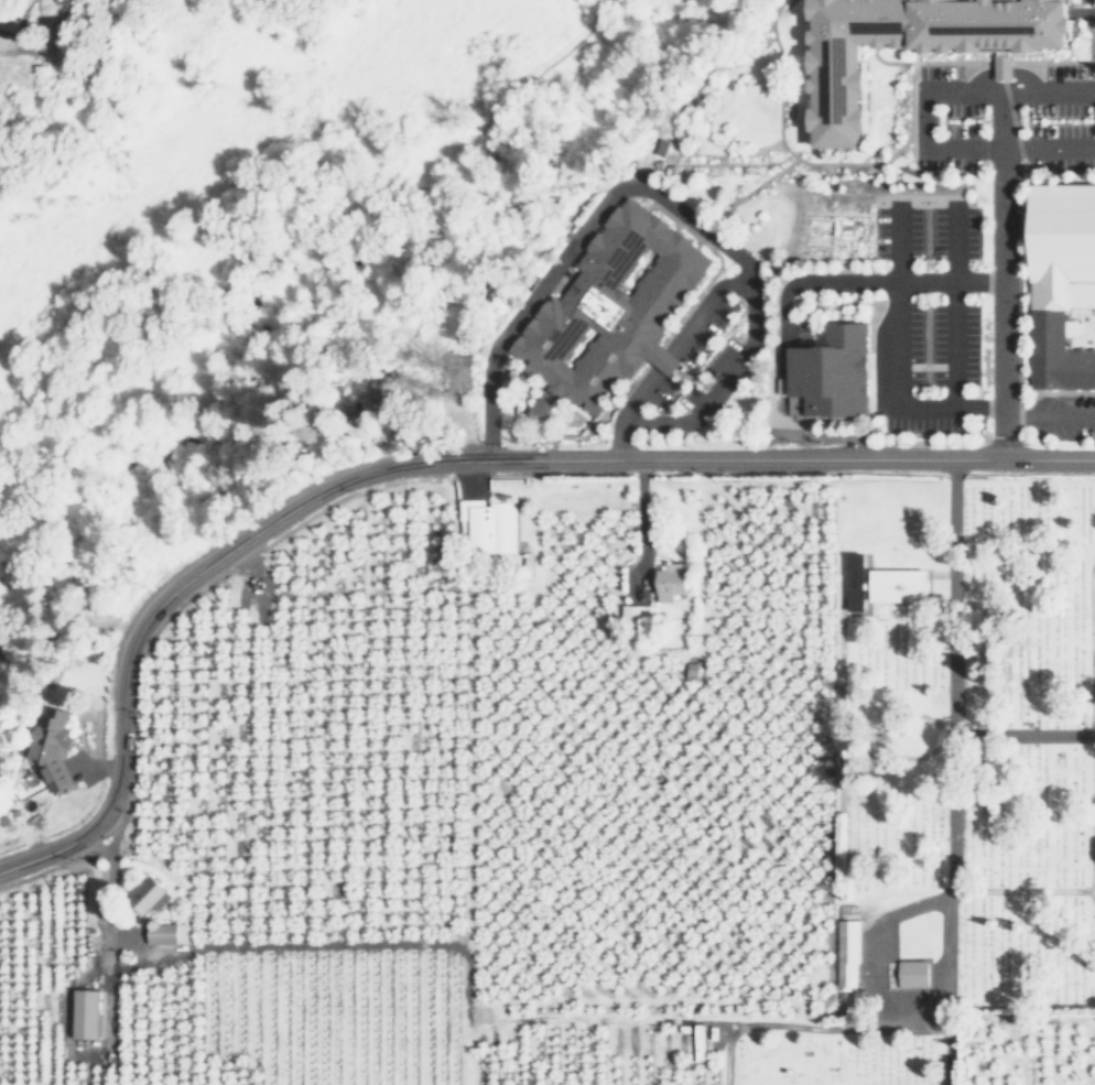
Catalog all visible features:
building: (11, 13)
road: (547, 58)
road: (1006, 62)
building: (1004, 66)
building: (838, 97)
road: (911, 104)
road: (778, 135)
road: (946, 147)
road: (911, 151)
road: (725, 162)
road: (848, 163)
road: (655, 195)
road: (1000, 229)
road: (864, 282)
building: (1061, 285)
road: (951, 306)
building: (611, 308)
road: (663, 355)
road: (896, 359)
building: (826, 370)
road: (1069, 392)
building: (360, 403)
building: (795, 405)
building: (539, 408)
road: (1048, 416)
road: (433, 460)
building: (484, 525)
road: (640, 529)
building: (839, 579)
building: (855, 581)
building: (666, 582)
building: (893, 585)
building: (939, 588)
building: (636, 614)
road: (1093, 642)
road: (1092, 723)
road: (987, 731)
park: (965, 741)
building: (51, 748)
road: (950, 750)
road: (1094, 826)
road: (109, 877)
building: (144, 892)
road: (1092, 902)
building: (163, 933)
building: (847, 954)
building: (913, 973)
road: (886, 992)
road: (944, 1001)
building: (83, 1011)
road: (837, 1023)
park: (832, 1052)

